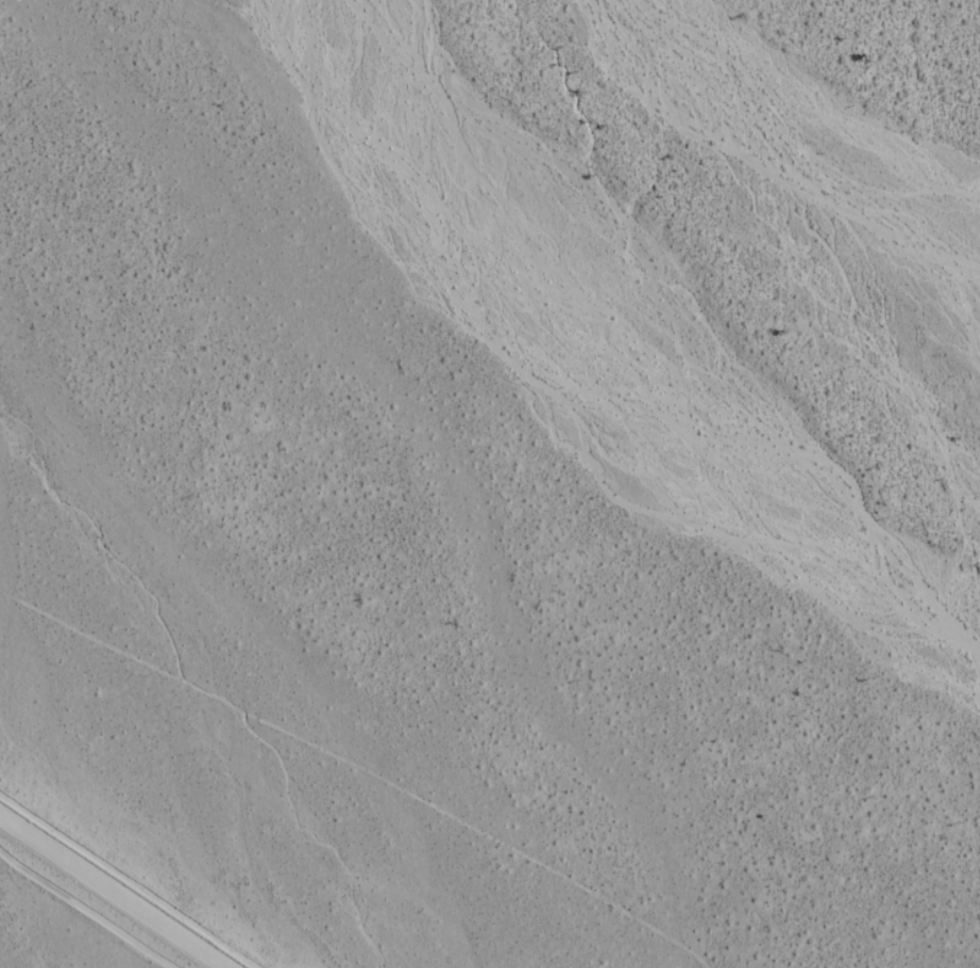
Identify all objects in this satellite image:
road: (114, 889)

